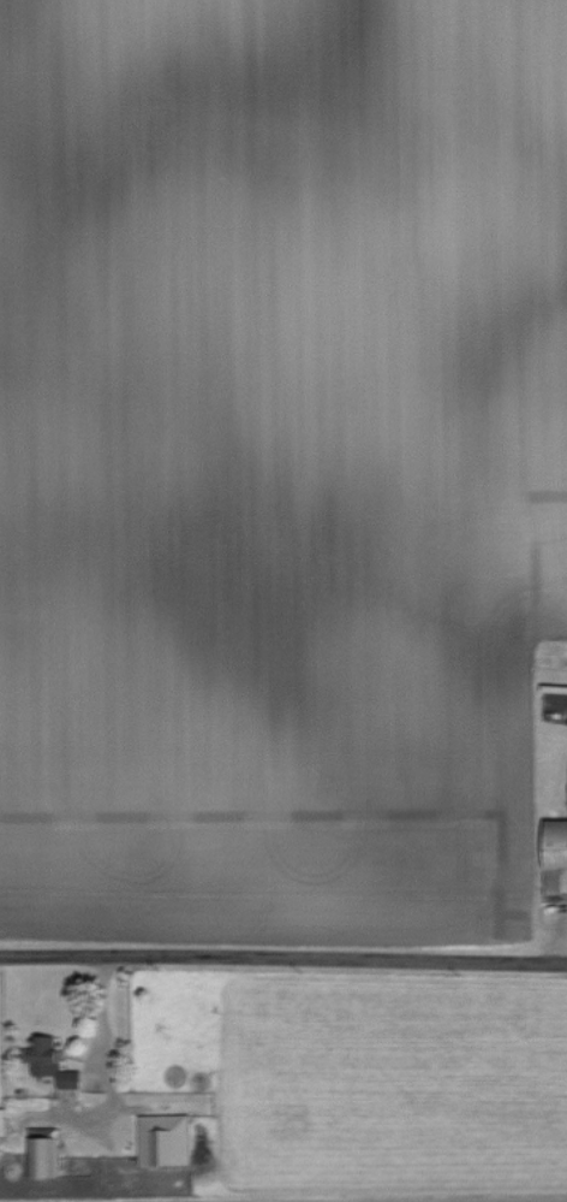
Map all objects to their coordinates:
road: (283, 957)
building: (40, 1054)
building: (0, 1118)

